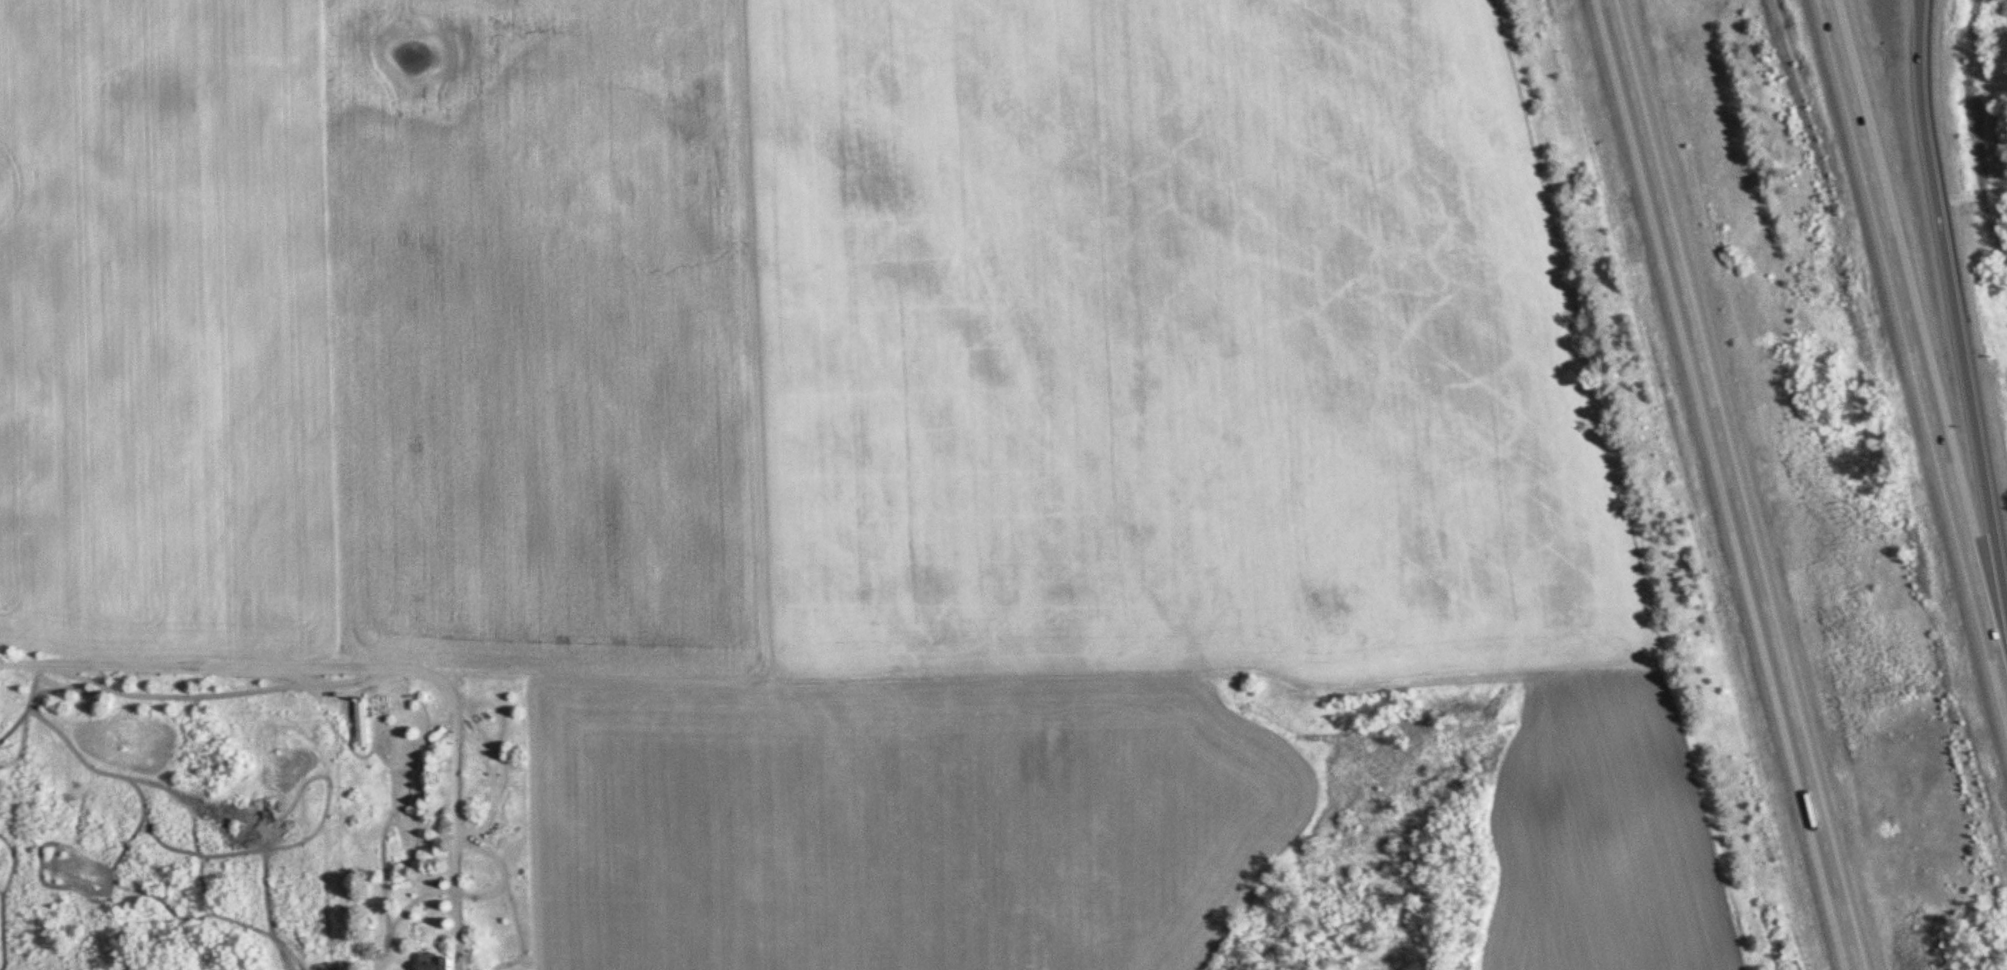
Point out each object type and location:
road: (1915, 7)
road: (1917, 7)
road: (1956, 319)
road: (1919, 336)
road: (1737, 485)
road: (366, 678)
building: (366, 725)
building: (440, 961)

